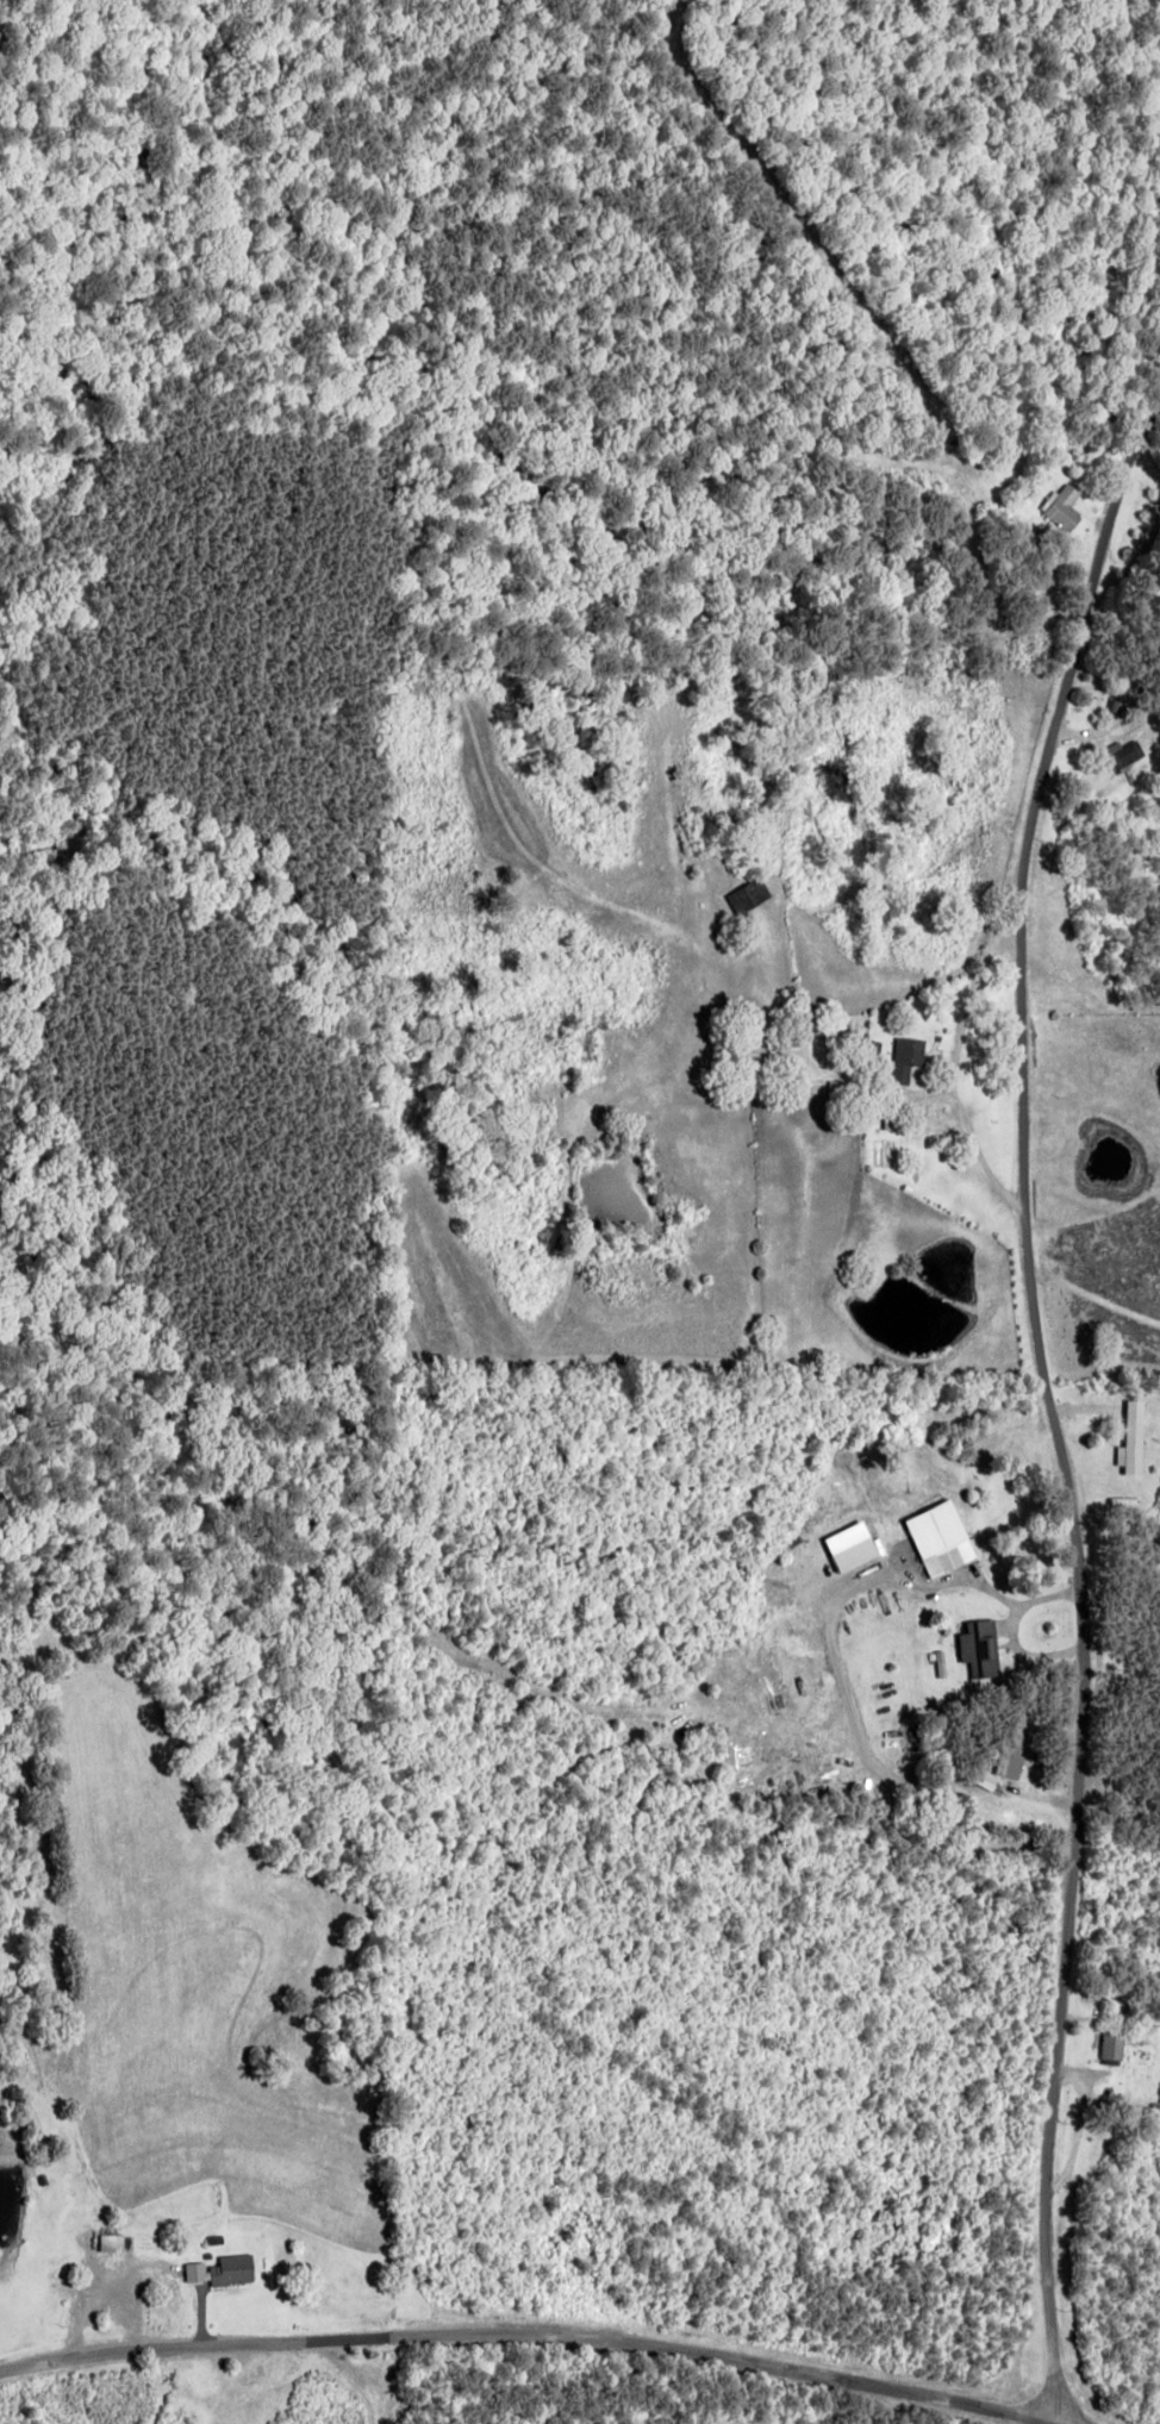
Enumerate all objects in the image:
building: (1062, 507)
building: (1124, 752)
building: (908, 1057)
road: (1055, 1420)
building: (942, 1537)
building: (856, 1553)
building: (980, 1647)
building: (1002, 1766)
building: (1112, 2042)
building: (112, 2242)
building: (223, 2269)
road: (532, 2341)

